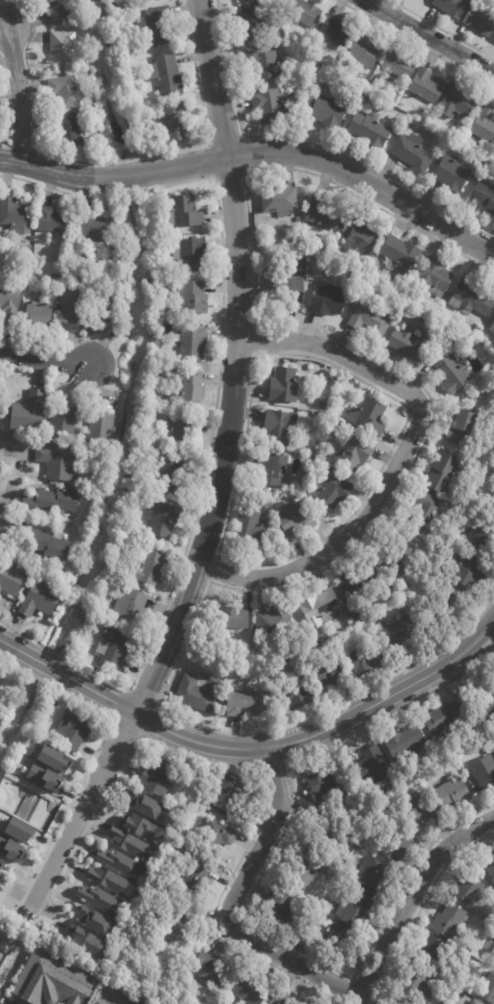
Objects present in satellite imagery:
building: (146, 1)
building: (248, 1)
building: (49, 2)
building: (271, 5)
building: (452, 7)
building: (303, 14)
building: (77, 15)
building: (70, 22)
building: (479, 22)
building: (156, 26)
building: (251, 26)
road: (440, 29)
building: (336, 31)
road: (428, 36)
building: (493, 40)
building: (125, 43)
road: (414, 44)
building: (61, 48)
building: (364, 52)
building: (263, 65)
building: (398, 65)
building: (166, 76)
building: (374, 81)
building: (425, 87)
building: (66, 92)
road: (18, 93)
building: (457, 104)
road: (7, 105)
building: (269, 106)
building: (328, 110)
building: (136, 122)
building: (175, 122)
building: (484, 124)
building: (68, 131)
building: (370, 131)
road: (241, 135)
road: (310, 139)
building: (96, 142)
building: (442, 142)
road: (5, 145)
road: (257, 152)
building: (413, 155)
road: (110, 162)
building: (451, 176)
building: (484, 197)
building: (279, 199)
building: (14, 212)
building: (183, 212)
building: (323, 212)
building: (53, 220)
building: (150, 223)
building: (93, 230)
building: (361, 235)
building: (28, 250)
building: (190, 253)
building: (399, 254)
building: (169, 273)
building: (434, 276)
building: (287, 291)
building: (190, 297)
building: (328, 298)
building: (471, 298)
building: (9, 302)
building: (72, 305)
building: (103, 307)
building: (37, 313)
building: (369, 319)
road: (251, 327)
building: (492, 328)
building: (449, 332)
building: (476, 332)
building: (409, 341)
building: (191, 342)
road: (42, 346)
road: (45, 359)
building: (163, 365)
building: (450, 371)
building: (282, 386)
building: (185, 388)
road: (214, 404)
building: (28, 414)
building: (369, 419)
building: (62, 422)
building: (279, 426)
building: (462, 427)
building: (100, 429)
building: (182, 434)
building: (355, 452)
road: (399, 459)
building: (56, 462)
building: (269, 469)
building: (443, 472)
building: (167, 476)
road: (219, 477)
building: (331, 489)
building: (493, 498)
road: (389, 500)
building: (51, 501)
building: (424, 511)
building: (295, 518)
building: (161, 519)
building: (250, 530)
building: (487, 534)
road: (323, 539)
building: (47, 544)
building: (401, 555)
building: (148, 566)
road: (214, 570)
building: (466, 570)
building: (11, 579)
building: (363, 581)
building: (40, 599)
building: (130, 607)
building: (320, 609)
building: (440, 609)
building: (234, 618)
building: (357, 632)
building: (273, 633)
building: (400, 634)
building: (113, 649)
building: (367, 657)
park: (8, 676)
building: (329, 676)
road: (129, 689)
building: (199, 693)
building: (291, 694)
building: (241, 702)
building: (486, 705)
building: (443, 722)
building: (72, 728)
building: (405, 744)
road: (253, 748)
building: (488, 750)
building: (493, 751)
building: (53, 759)
road: (236, 763)
road: (269, 763)
building: (371, 766)
building: (483, 774)
building: (43, 777)
building: (157, 777)
building: (325, 781)
building: (227, 793)
building: (452, 794)
building: (145, 803)
building: (420, 809)
road: (55, 824)
building: (139, 825)
building: (18, 830)
building: (320, 832)
building: (216, 836)
building: (128, 841)
building: (398, 846)
building: (10, 848)
building: (1, 862)
building: (119, 862)
building: (304, 868)
building: (491, 869)
building: (194, 871)
building: (370, 877)
building: (108, 879)
building: (469, 888)
road: (249, 892)
road: (411, 894)
building: (99, 898)
building: (353, 909)
road: (228, 910)
road: (417, 911)
building: (278, 913)
building: (94, 919)
building: (449, 922)
building: (177, 923)
building: (334, 940)
building: (87, 941)
building: (461, 944)
building: (489, 948)
building: (433, 951)
building: (209, 968)
building: (52, 981)
building: (415, 987)
road: (368, 988)
building: (488, 989)
building: (247, 990)
parking lot: (111, 994)
building: (458, 995)
parking lot: (7, 999)
building: (277, 999)
road: (115, 1001)
building: (475, 1002)
building: (142, 1003)
building: (145, 1003)

